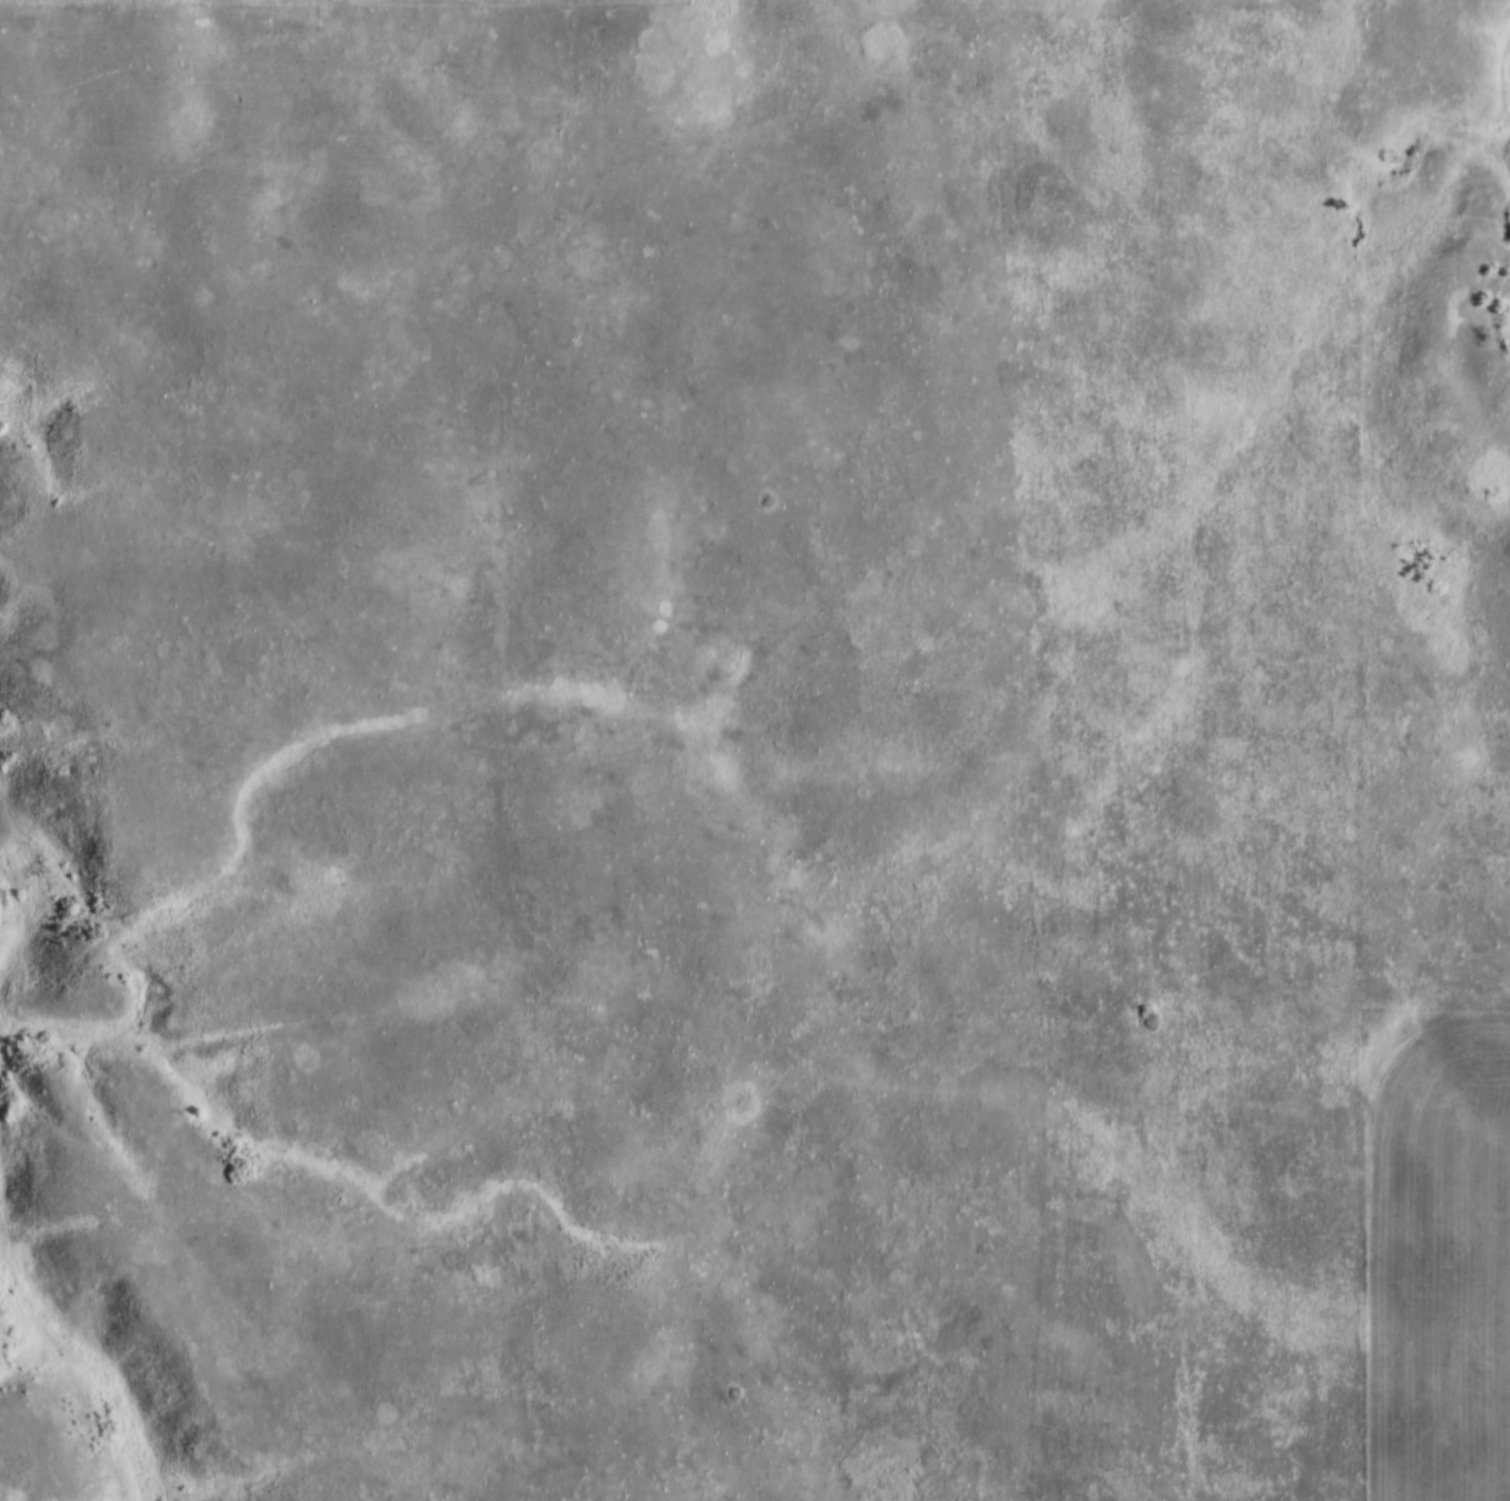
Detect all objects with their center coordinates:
building: (1486, 1274)

